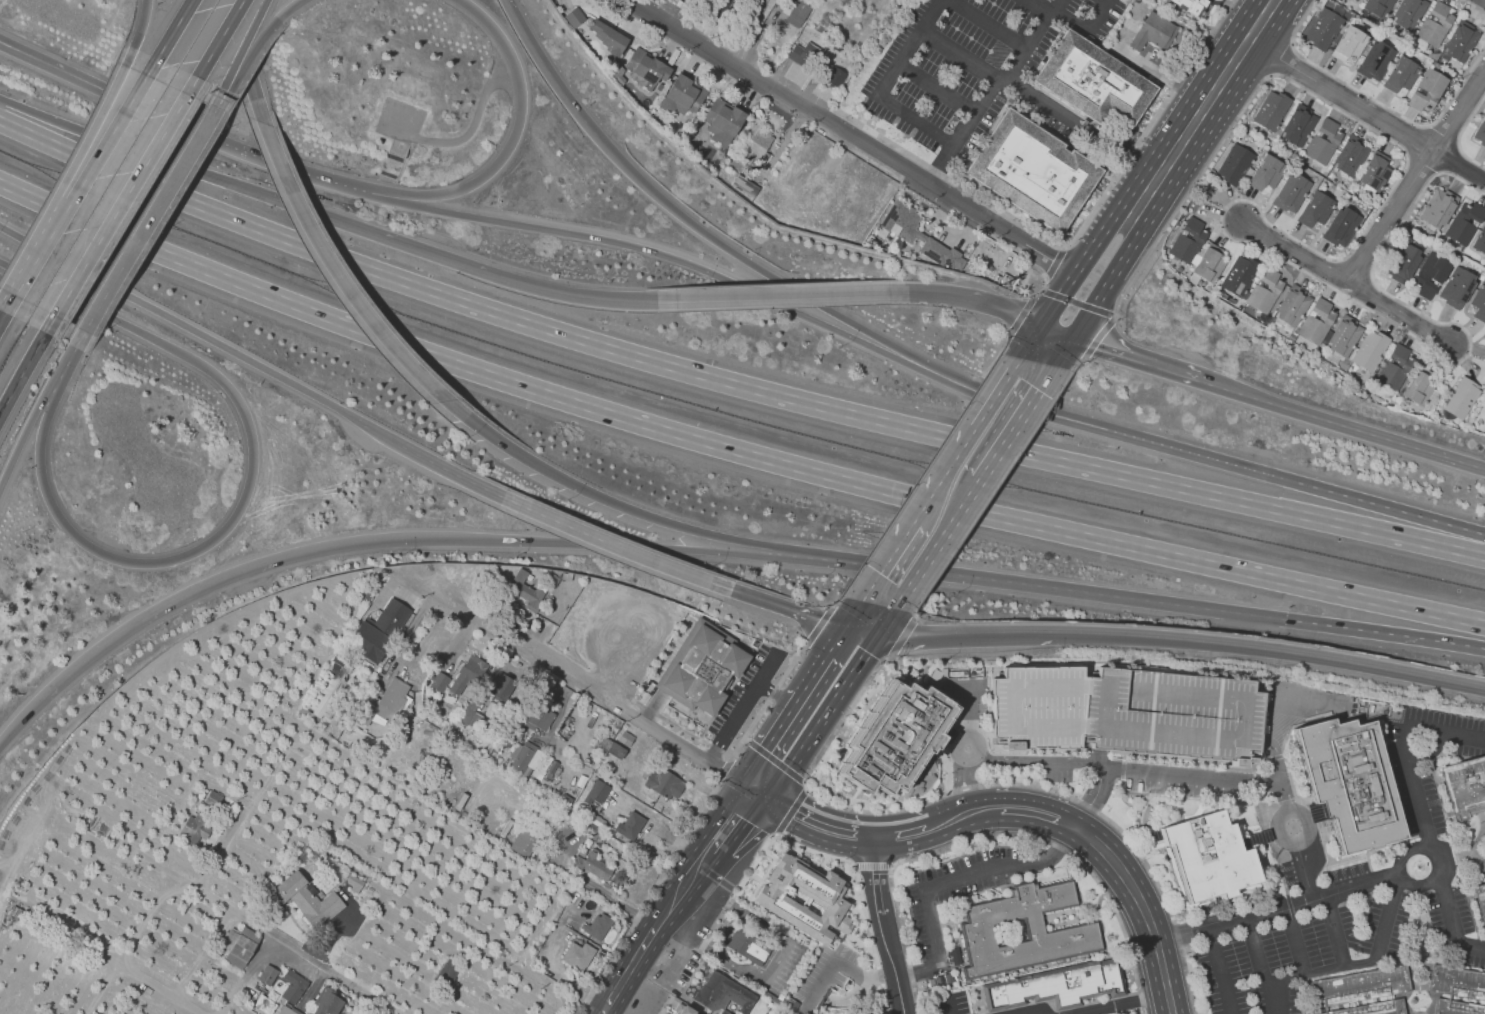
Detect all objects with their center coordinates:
building: (687, 0)
building: (1162, 0)
building: (1356, 0)
road: (510, 6)
road: (1040, 6)
building: (1189, 6)
road: (1474, 6)
building: (1378, 7)
building: (1409, 14)
building: (574, 17)
road: (990, 24)
building: (1436, 24)
road: (1087, 27)
building: (1325, 27)
road: (267, 31)
road: (138, 32)
road: (250, 32)
building: (1153, 32)
road: (754, 35)
road: (169, 37)
building: (607, 39)
building: (1461, 41)
building: (1350, 44)
road: (908, 46)
road: (215, 47)
road: (7, 48)
road: (7, 49)
building: (805, 53)
road: (1280, 58)
building: (1375, 60)
building: (1436, 65)
building: (645, 71)
road: (59, 73)
parking lot: (979, 73)
building: (1401, 75)
building: (835, 76)
road: (552, 77)
road: (226, 80)
building: (1095, 80)
road: (937, 88)
road: (991, 90)
building: (1428, 90)
road: (1340, 96)
road: (257, 98)
road: (108, 99)
building: (682, 99)
road: (215, 100)
road: (1375, 100)
road: (1038, 103)
road: (1206, 104)
road: (126, 107)
building: (1271, 109)
road: (916, 120)
building: (721, 123)
building: (1299, 125)
building: (1481, 133)
road: (466, 134)
road: (1461, 135)
road: (852, 138)
building: (759, 141)
building: (1324, 141)
road: (227, 147)
road: (508, 147)
building: (1288, 148)
road: (140, 150)
building: (1272, 152)
building: (1351, 155)
building: (1236, 165)
road: (85, 167)
road: (1458, 167)
building: (1033, 171)
building: (1376, 172)
building: (1267, 173)
road: (1417, 176)
building: (750, 189)
building: (1291, 192)
traffic signals: (282, 200)
building: (1438, 208)
building: (1316, 210)
road: (1260, 211)
road: (116, 213)
road: (325, 215)
road: (146, 216)
building: (1178, 222)
building: (1465, 222)
building: (1341, 227)
building: (920, 236)
building: (1189, 241)
building: (1480, 242)
road: (1062, 243)
road: (38, 246)
road: (644, 249)
road: (1299, 251)
road: (1054, 259)
building: (1172, 260)
road: (749, 262)
building: (1402, 262)
building: (1209, 265)
road: (335, 274)
building: (1430, 274)
building: (1240, 275)
road: (1045, 278)
road: (1075, 279)
road: (518, 282)
building: (1458, 288)
road: (1043, 290)
road: (1103, 290)
building: (1266, 290)
road: (850, 292)
road: (1057, 295)
road: (743, 296)
road: (967, 298)
road: (1076, 302)
road: (5, 303)
building: (1479, 303)
building: (1292, 307)
road: (1098, 309)
road: (1022, 314)
road: (1403, 314)
road: (1116, 315)
road: (172, 319)
building: (1318, 323)
traffic signals: (1041, 329)
road: (1056, 335)
road: (1099, 336)
building: (1292, 337)
building: (1345, 337)
traffic signals: (1072, 341)
building: (1371, 350)
building: (1331, 358)
road: (1084, 359)
road: (1081, 360)
road: (1134, 360)
road: (63, 361)
building: (1396, 368)
road: (22, 372)
road: (728, 381)
building: (1421, 388)
road: (999, 393)
building: (1461, 398)
road: (1009, 401)
road: (1018, 423)
road: (1341, 423)
road: (20, 440)
road: (728, 448)
road: (430, 460)
road: (928, 465)
road: (945, 474)
road: (1287, 479)
road: (247, 487)
road: (993, 490)
road: (611, 502)
road: (1476, 532)
road: (546, 541)
road: (938, 543)
road: (615, 546)
road: (888, 561)
building: (528, 590)
road: (1101, 593)
road: (835, 603)
road: (157, 606)
road: (786, 608)
road: (861, 616)
road: (918, 617)
road: (879, 619)
traffic signals: (1288, 620)
building: (379, 631)
road: (816, 631)
traffic signals: (861, 632)
road: (429, 634)
road: (1014, 634)
road: (917, 636)
road: (903, 637)
road: (464, 638)
parking lot: (627, 642)
road: (1444, 642)
road: (1271, 651)
road: (628, 655)
road: (838, 665)
building: (704, 669)
road: (768, 670)
building: (469, 673)
building: (440, 680)
road: (580, 681)
building: (330, 686)
building: (504, 687)
road: (965, 688)
parking lot: (745, 695)
road: (783, 698)
building: (384, 702)
road: (653, 705)
road: (811, 706)
road: (564, 710)
road: (971, 711)
building: (1127, 712)
parking lot: (1127, 712)
building: (310, 715)
building: (471, 715)
building: (539, 718)
parking lot: (1445, 718)
road: (19, 719)
road: (735, 721)
parking lot: (1393, 729)
building: (900, 736)
building: (627, 738)
road: (981, 744)
building: (614, 748)
road: (1403, 749)
parking lot: (1465, 749)
road: (734, 752)
road: (780, 752)
building: (525, 760)
road: (1039, 760)
road: (728, 765)
road: (1277, 771)
building: (414, 775)
road: (1192, 776)
road: (799, 779)
building: (665, 783)
building: (1349, 783)
road: (964, 784)
road: (983, 785)
building: (1465, 786)
parking lot: (1189, 789)
parking lot: (1401, 789)
building: (598, 791)
traffic signals: (756, 791)
road: (1098, 791)
parking lot: (1433, 797)
building: (214, 799)
road: (1037, 810)
road: (963, 813)
road: (734, 820)
road: (811, 821)
building: (631, 825)
building: (196, 828)
road: (662, 829)
building: (595, 831)
road: (901, 833)
building: (29, 834)
road: (996, 834)
road: (1296, 840)
building: (525, 844)
road: (1414, 847)
road: (811, 850)
building: (1212, 855)
building: (594, 864)
road: (875, 865)
road: (1304, 871)
parking lot: (1347, 871)
road: (875, 875)
parking lot: (1291, 875)
road: (948, 882)
building: (354, 883)
road: (594, 885)
road: (683, 887)
road: (179, 891)
road: (650, 896)
building: (806, 898)
building: (303, 899)
building: (1480, 901)
road: (225, 903)
road: (1142, 907)
parking lot: (1463, 909)
road: (1279, 911)
road: (1450, 924)
parking lot: (1399, 926)
building: (598, 927)
building: (1082, 929)
road: (1335, 931)
parking lot: (1449, 935)
road: (133, 939)
road: (1295, 942)
building: (238, 945)
building: (749, 946)
building: (579, 955)
parking lot: (1288, 957)
road: (777, 962)
road: (1363, 962)
road: (841, 963)
road: (894, 963)
parking lot: (789, 967)
road: (1262, 967)
road: (629, 969)
road: (1219, 972)
building: (448, 973)
building: (267, 975)
parking lot: (824, 975)
road: (561, 976)
parking lot: (666, 978)
building: (950, 978)
building: (1457, 981)
building: (1361, 985)
building: (293, 986)
building: (1058, 986)
road: (160, 989)
building: (724, 994)
road: (850, 997)
building: (327, 1002)
road: (1123, 1003)
road: (947, 1007)
building: (1457, 1007)
building: (1374, 1008)
building: (285, 1010)
building: (687, 1010)
road: (1039, 1012)

